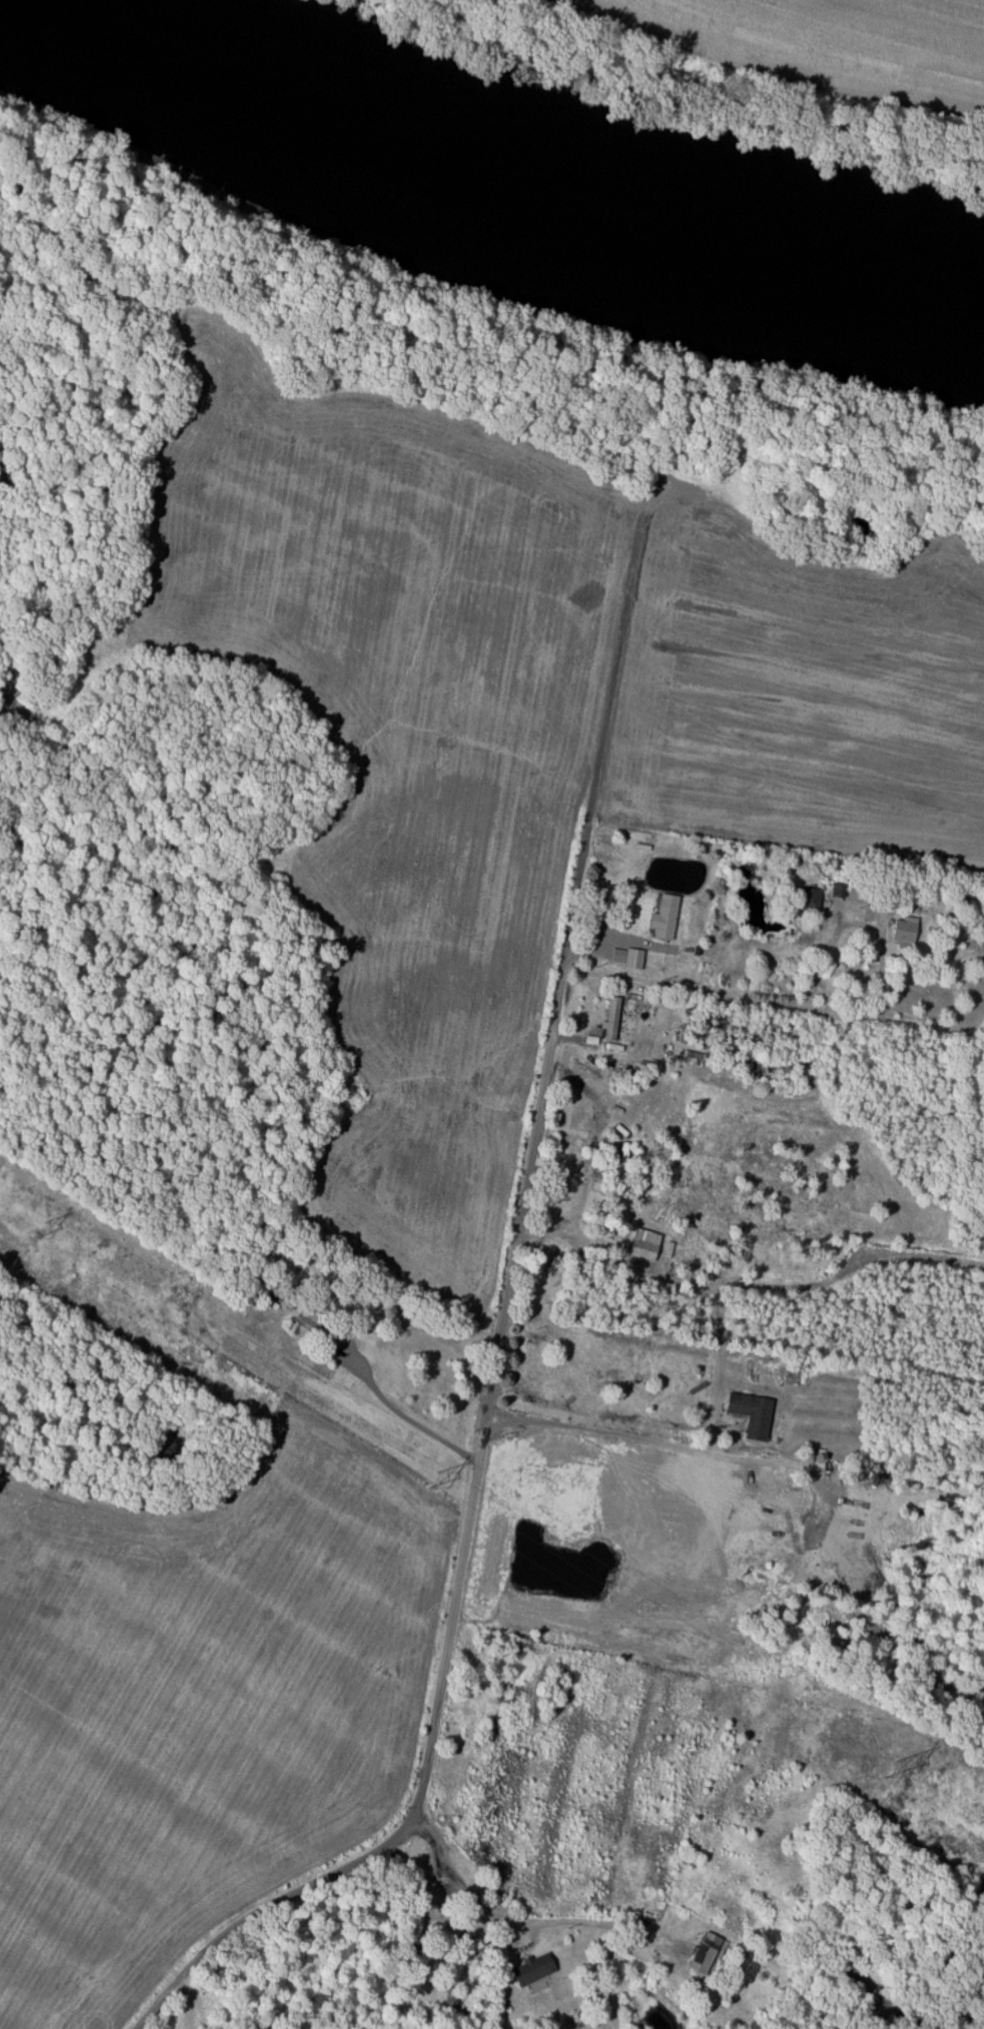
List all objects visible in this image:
river: (523, 180)
building: (843, 890)
building: (812, 899)
building: (669, 918)
building: (910, 933)
building: (632, 958)
building: (616, 1020)
road: (760, 1134)
power tower: (37, 1231)
building: (649, 1245)
road: (501, 1328)
building: (757, 1415)
road: (413, 1423)
power tower: (431, 1478)
power tower: (890, 1770)
building: (710, 1954)
building: (538, 1969)
road: (426, 2022)

